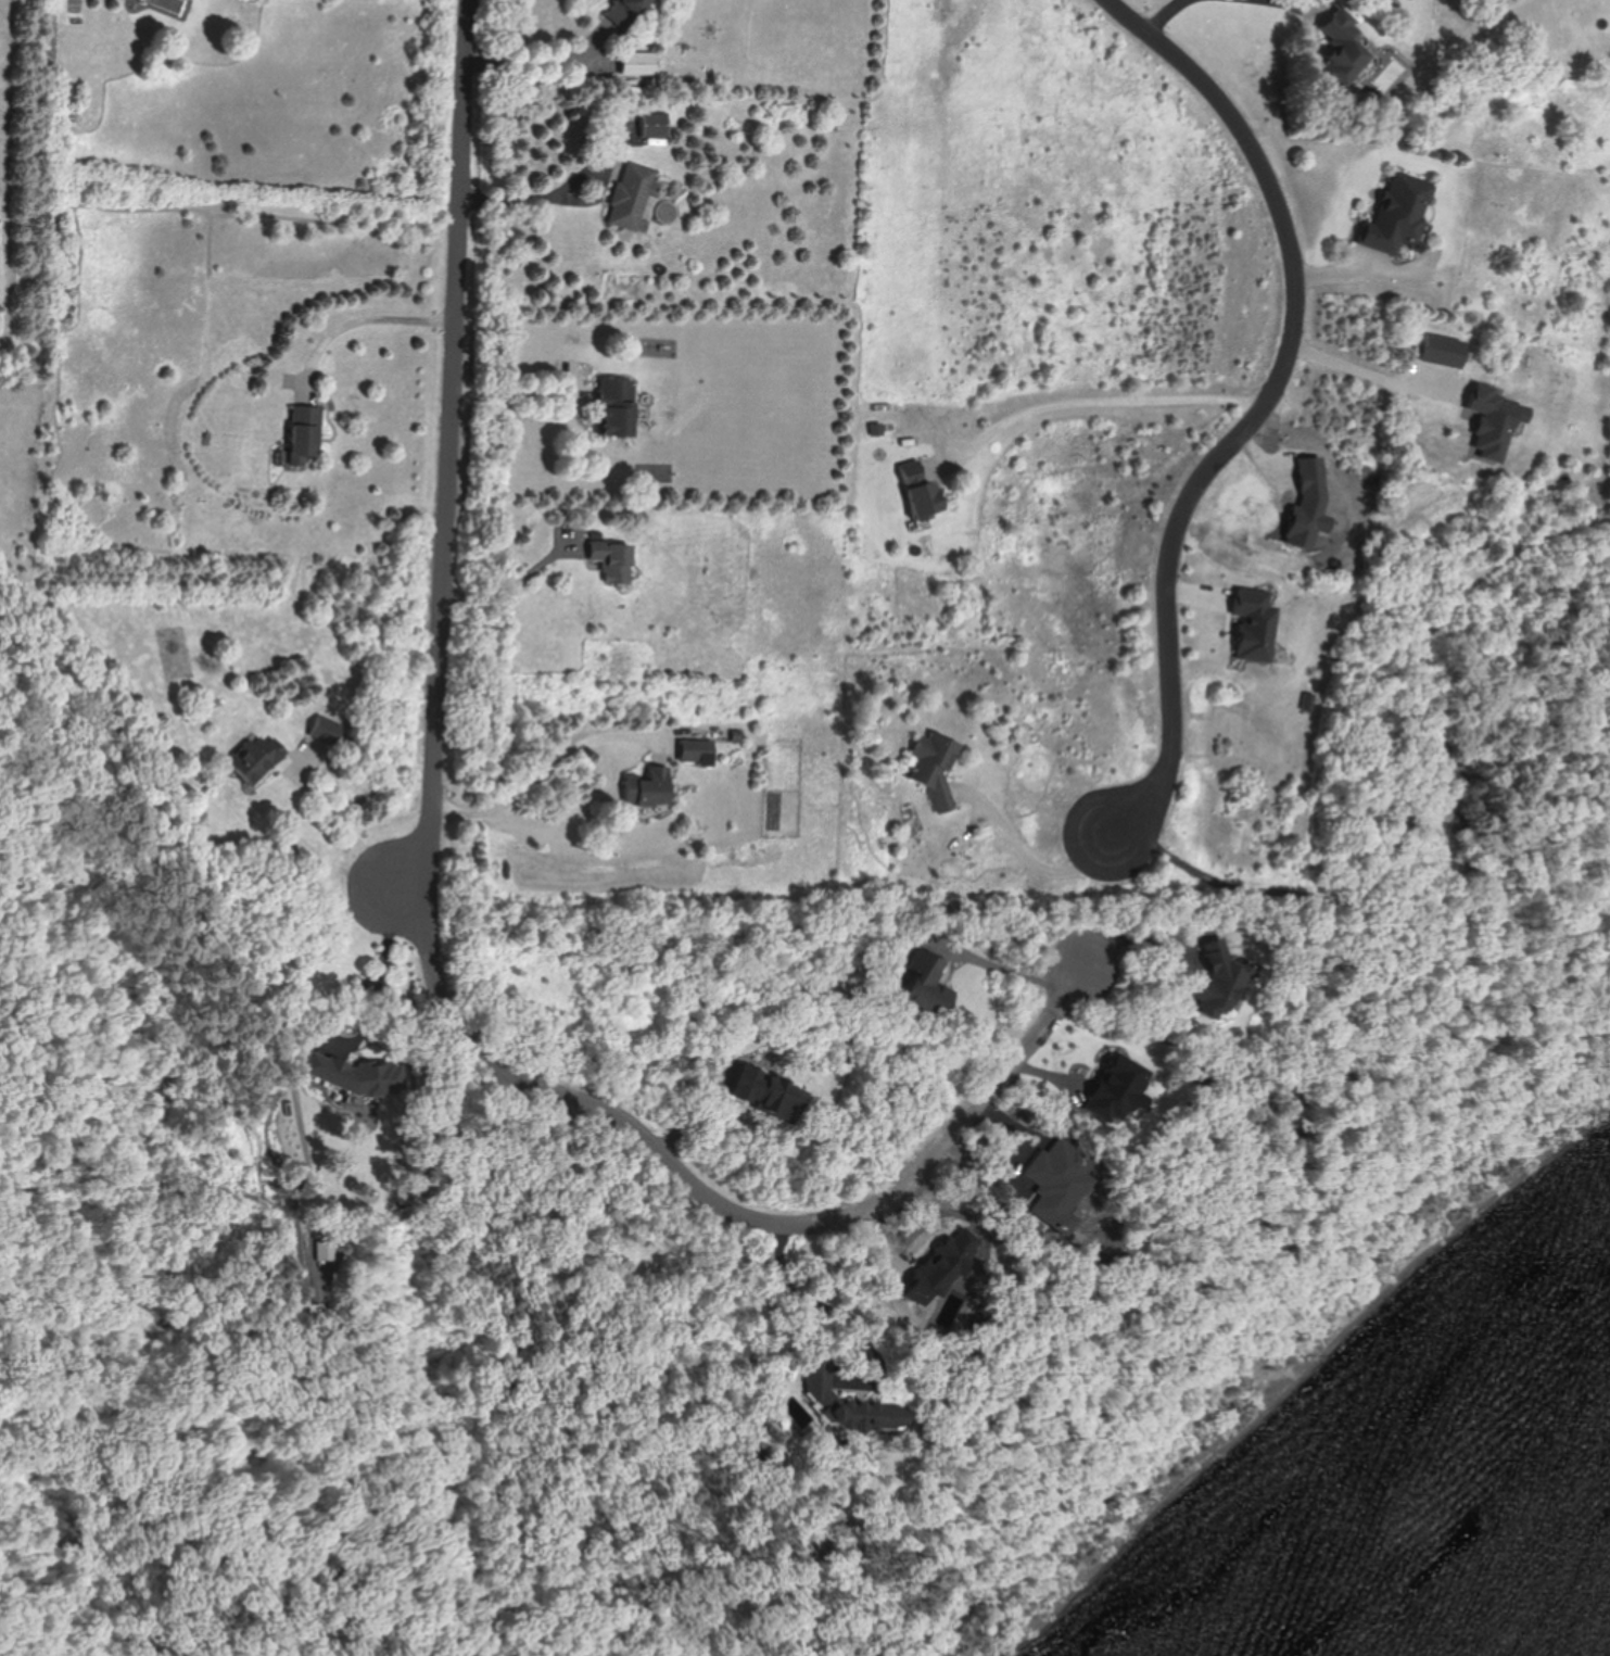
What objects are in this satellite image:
road: (1293, 1)
building: (625, 12)
road: (1165, 15)
building: (1341, 43)
road: (543, 60)
building: (636, 63)
building: (652, 125)
building: (632, 195)
road: (547, 202)
building: (1396, 218)
road: (364, 323)
building: (1440, 351)
road: (1371, 375)
road: (523, 391)
road: (1106, 401)
road: (1259, 401)
building: (617, 407)
building: (1487, 420)
building: (304, 433)
road: (451, 452)
building: (920, 491)
building: (613, 559)
road: (512, 589)
building: (326, 730)
building: (697, 753)
building: (255, 758)
building: (935, 763)
road: (554, 769)
building: (648, 787)
road: (344, 823)
road: (1037, 863)
road: (1137, 937)
road: (1005, 968)
road: (382, 977)
building: (1213, 979)
building: (927, 987)
building: (353, 1076)
building: (768, 1092)
road: (707, 1108)
road: (723, 1199)
road: (848, 1320)
building: (819, 1383)

